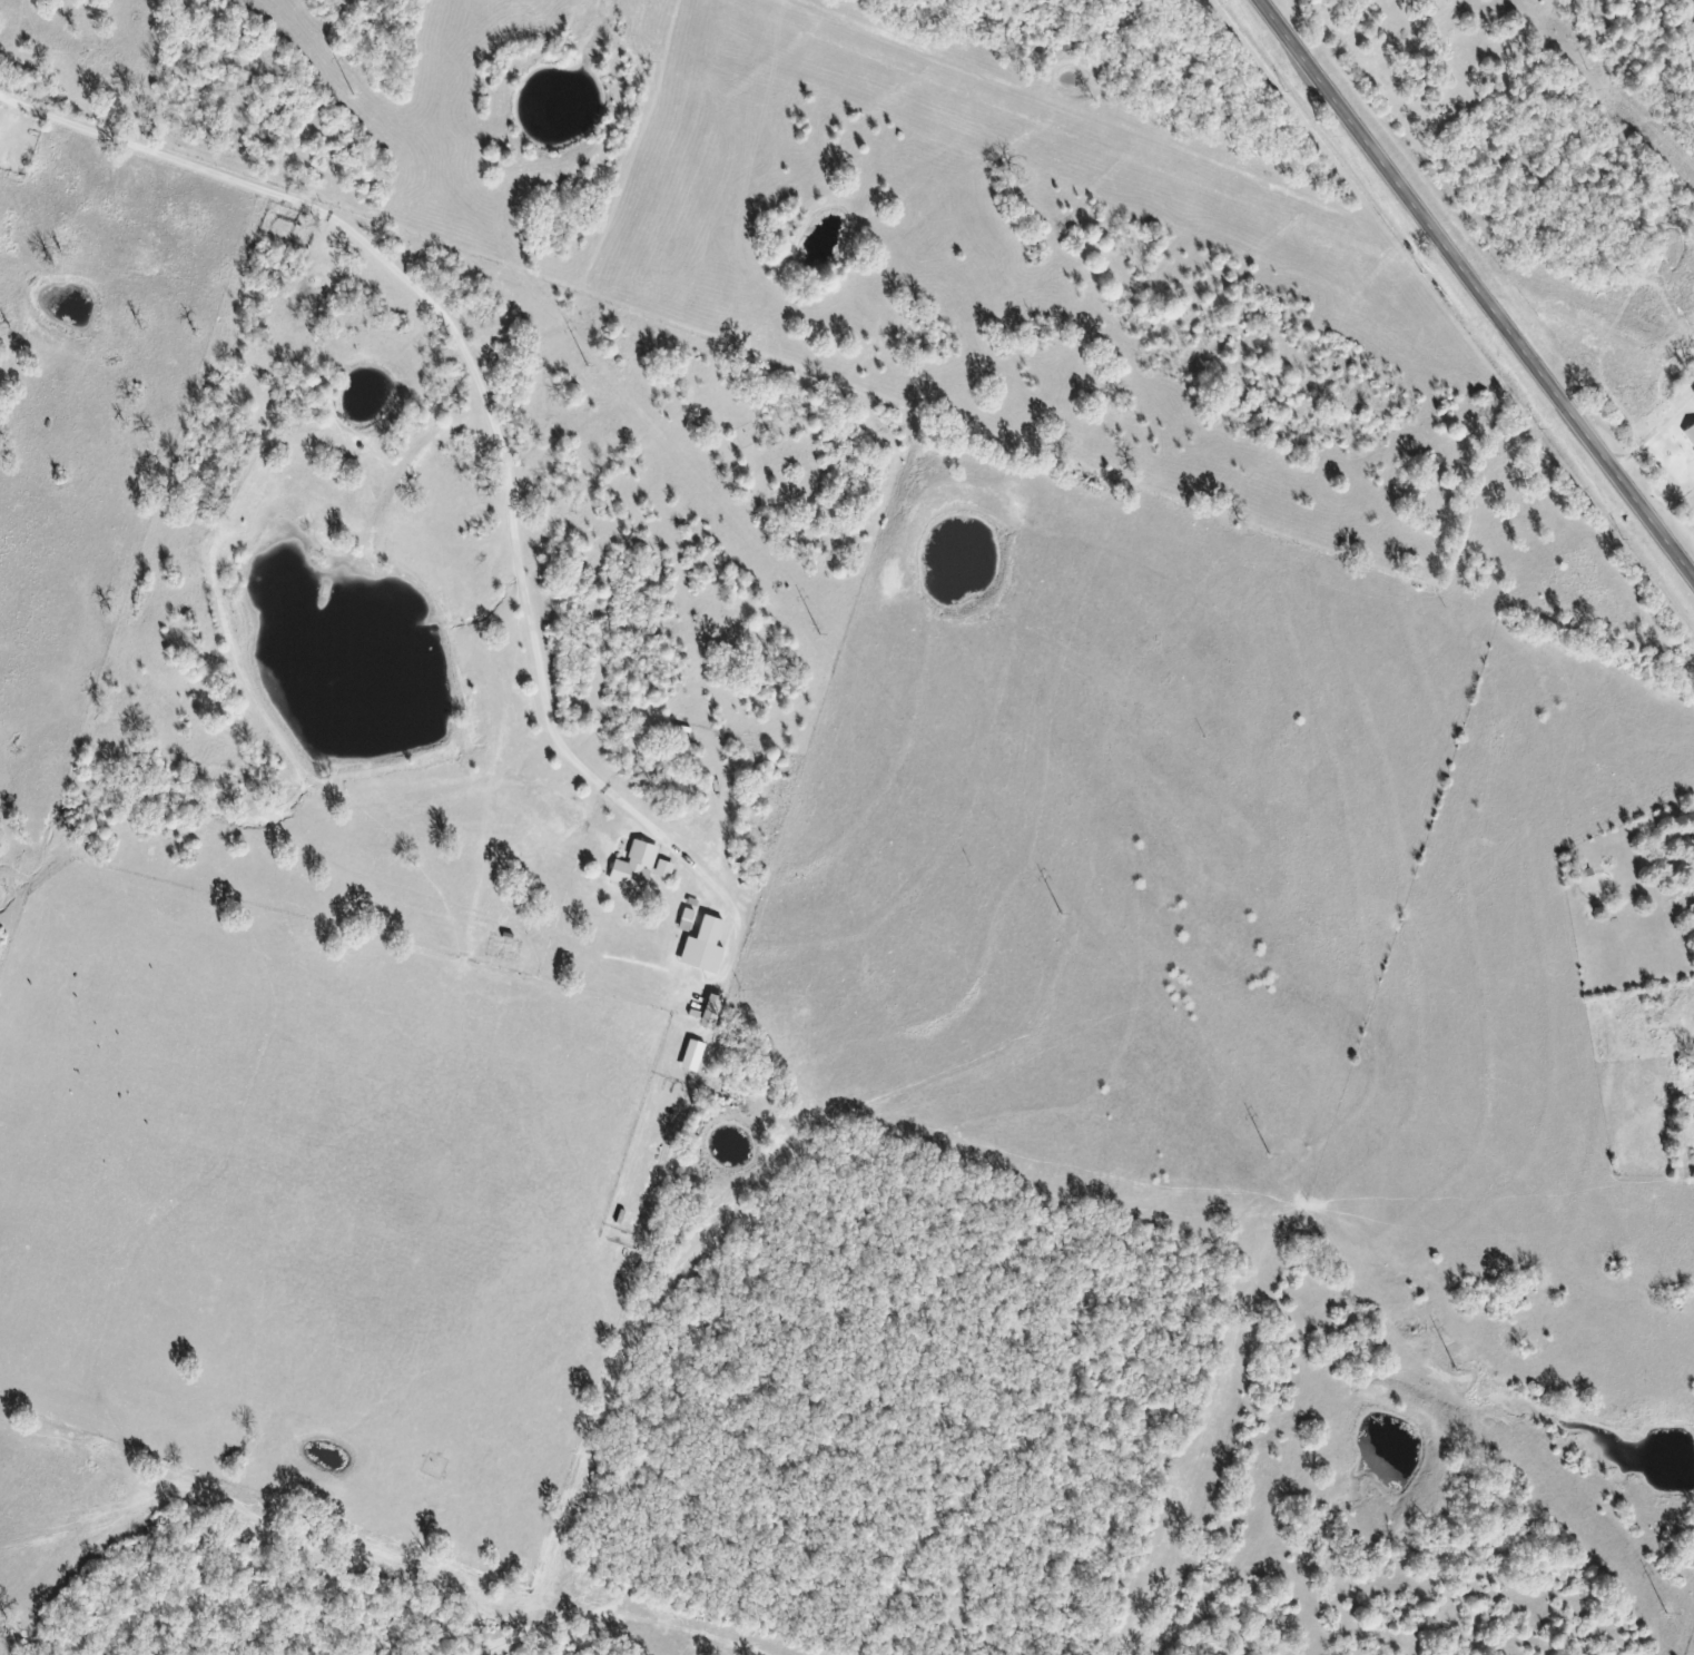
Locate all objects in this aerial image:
power tower: (349, 96)
road: (1474, 290)
power tower: (585, 367)
building: (1688, 432)
power tower: (818, 636)
building: (637, 867)
building: (1693, 868)
building: (666, 870)
building: (1692, 883)
power tower: (1058, 916)
building: (707, 947)
building: (715, 1013)
building: (695, 1056)
power tower: (1265, 1154)
power tower: (1451, 1371)
power tower: (1662, 1615)

